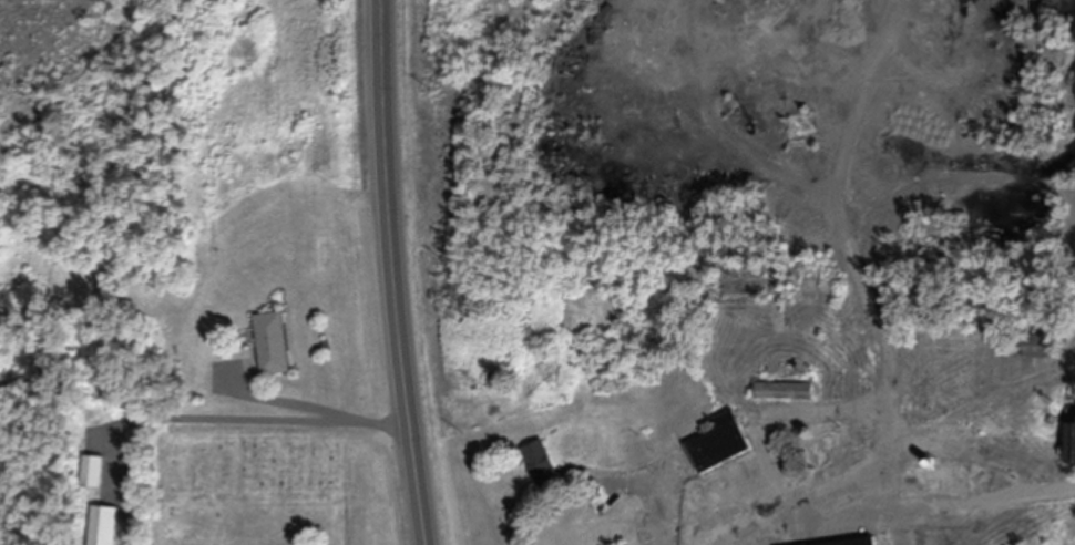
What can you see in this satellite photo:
road: (391, 272)
building: (274, 345)
building: (1041, 348)
building: (785, 392)
road: (262, 419)
building: (1073, 439)
building: (720, 445)
building: (829, 450)
building: (542, 466)
park: (253, 471)
building: (94, 473)
road: (652, 494)
road: (797, 498)
building: (588, 513)
building: (105, 526)
building: (868, 544)

